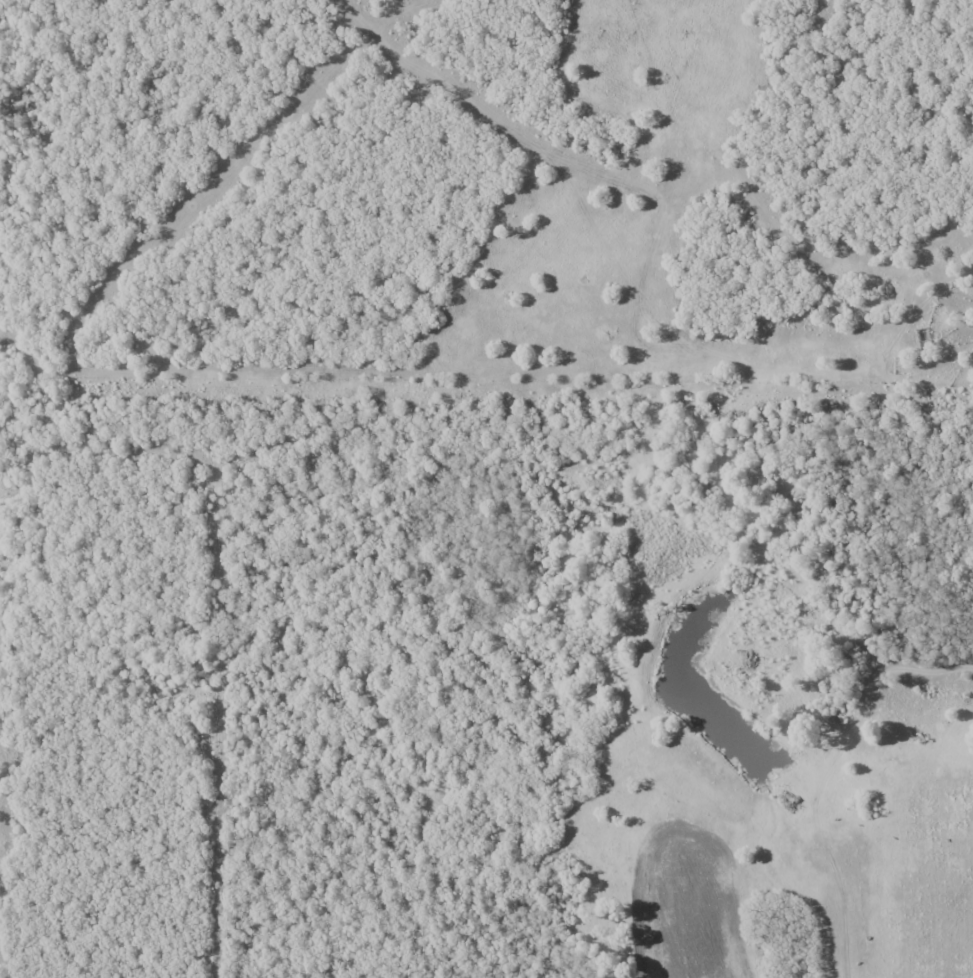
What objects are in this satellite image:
road: (579, 888)

